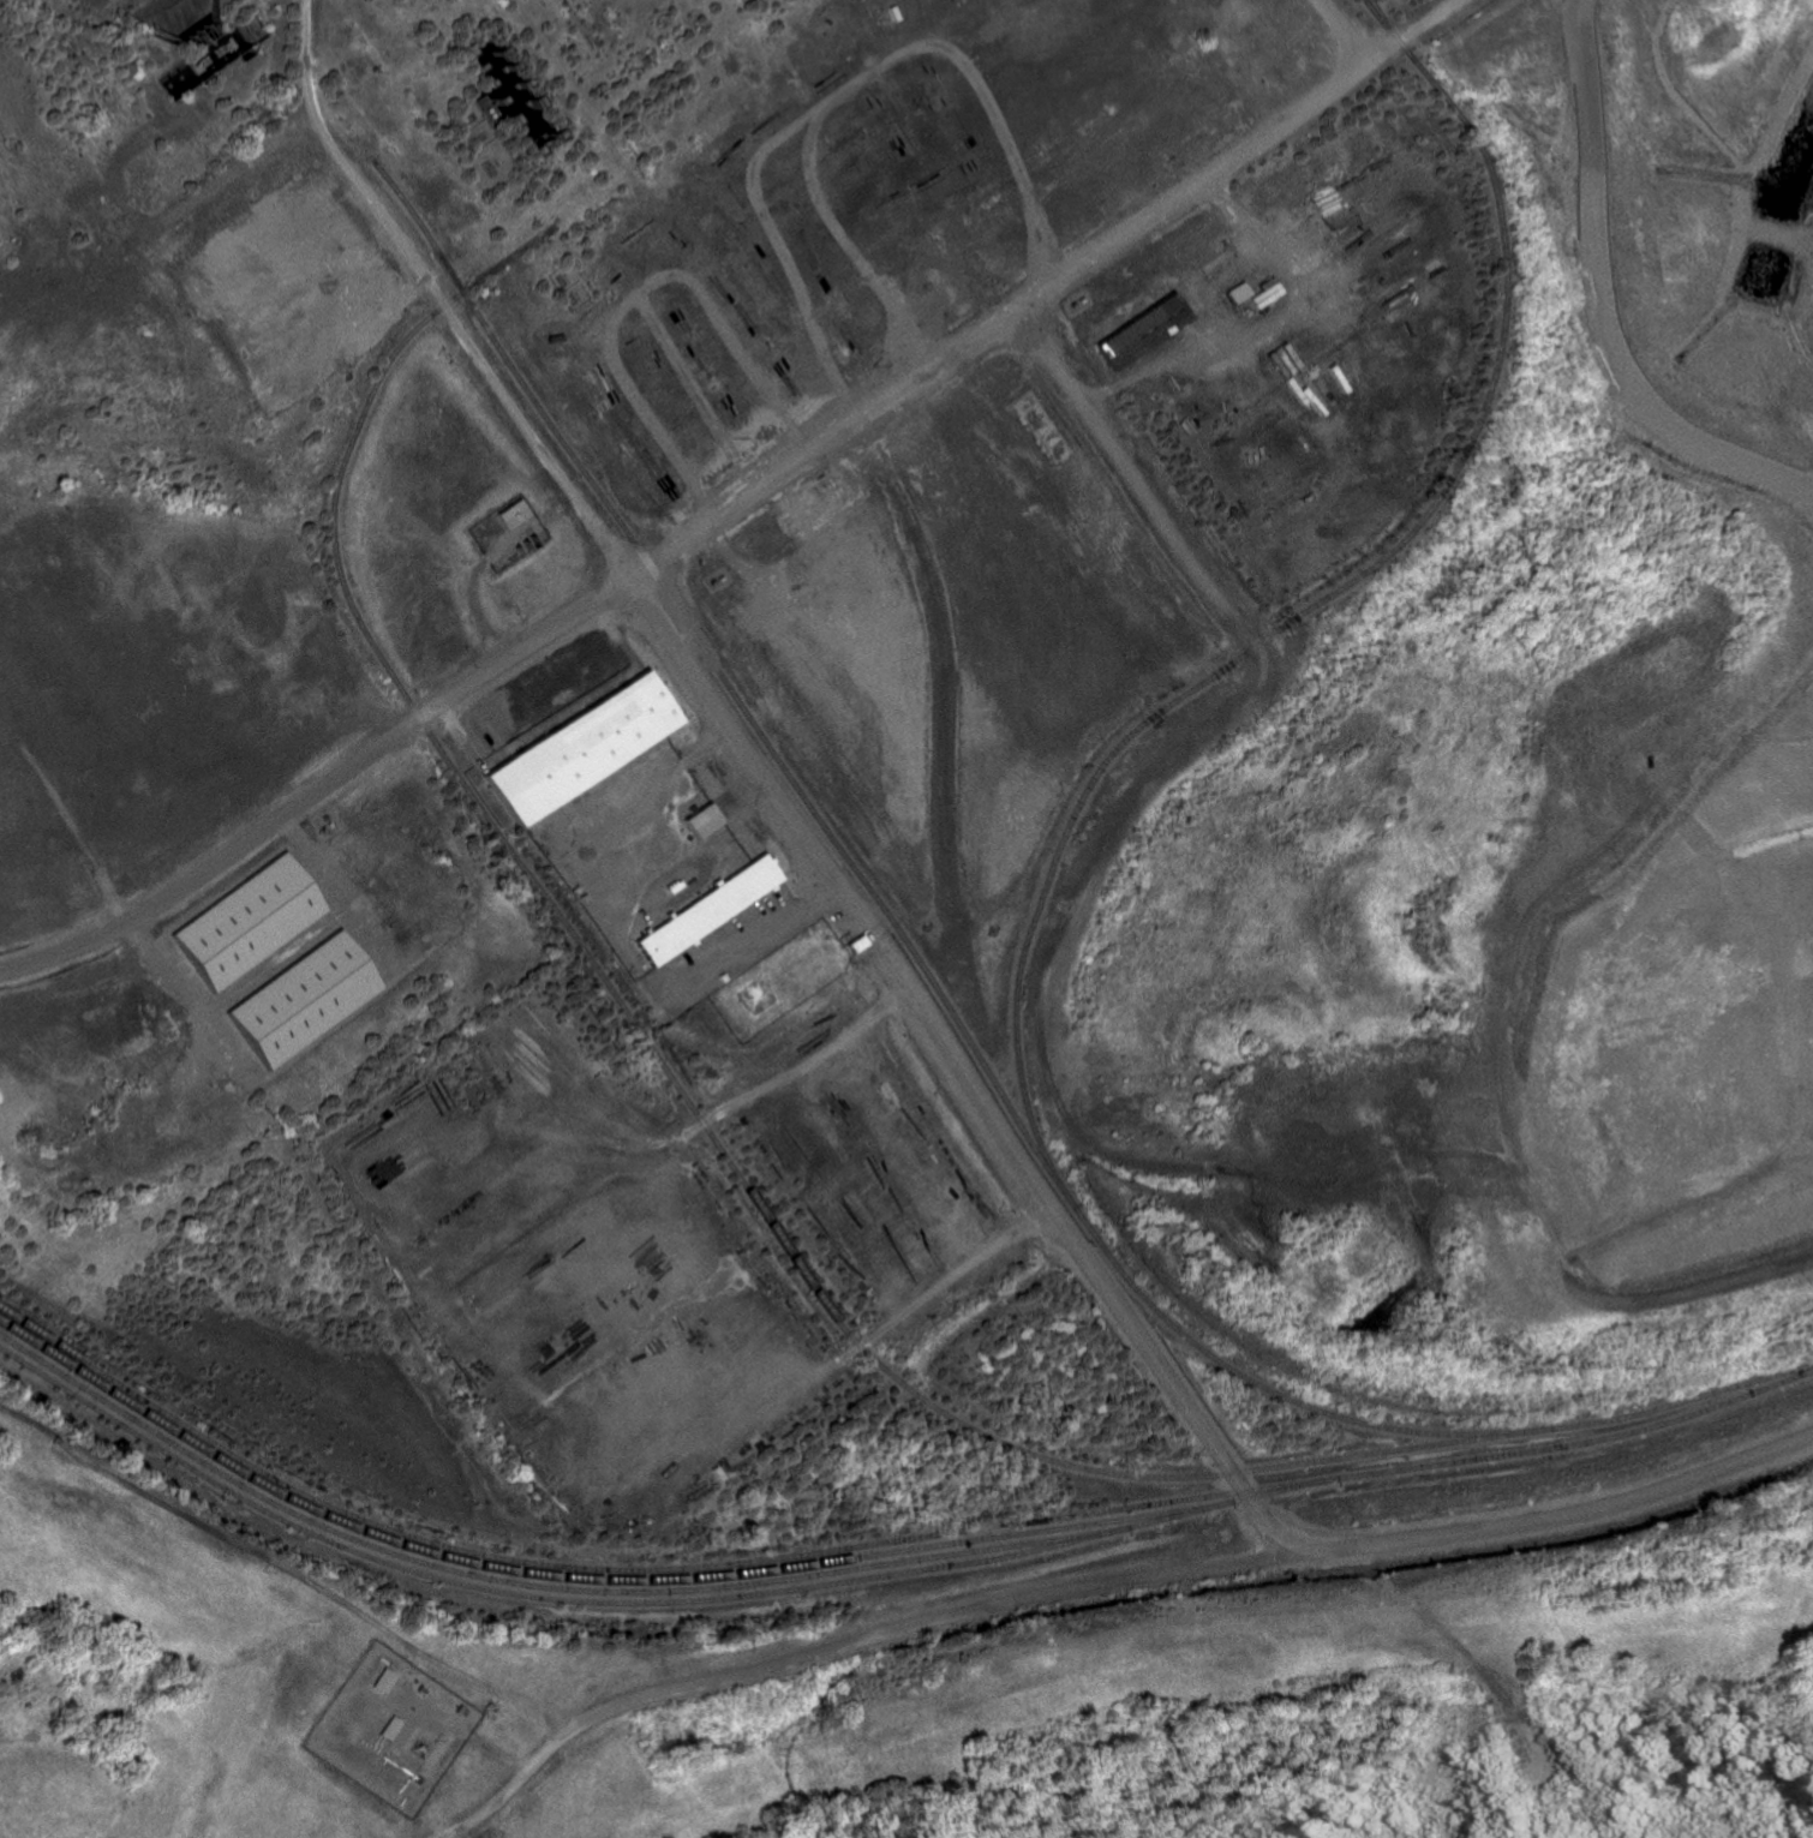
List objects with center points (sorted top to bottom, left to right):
railway: (580, 22)
road: (1341, 34)
road: (167, 215)
building: (1150, 333)
road: (740, 505)
building: (511, 515)
building: (582, 746)
railway: (1084, 789)
building: (702, 819)
building: (708, 908)
building: (247, 920)
railway: (582, 940)
building: (856, 940)
road: (268, 964)
building: (305, 998)
road: (1045, 1179)
road: (971, 1323)
railway: (1688, 1401)
railway: (1392, 1450)
road: (1573, 1513)
railway: (629, 1563)
railway: (886, 1574)
railway: (568, 1579)
railway: (516, 1580)
building: (387, 1682)
road: (1490, 1705)
road: (1528, 1788)

